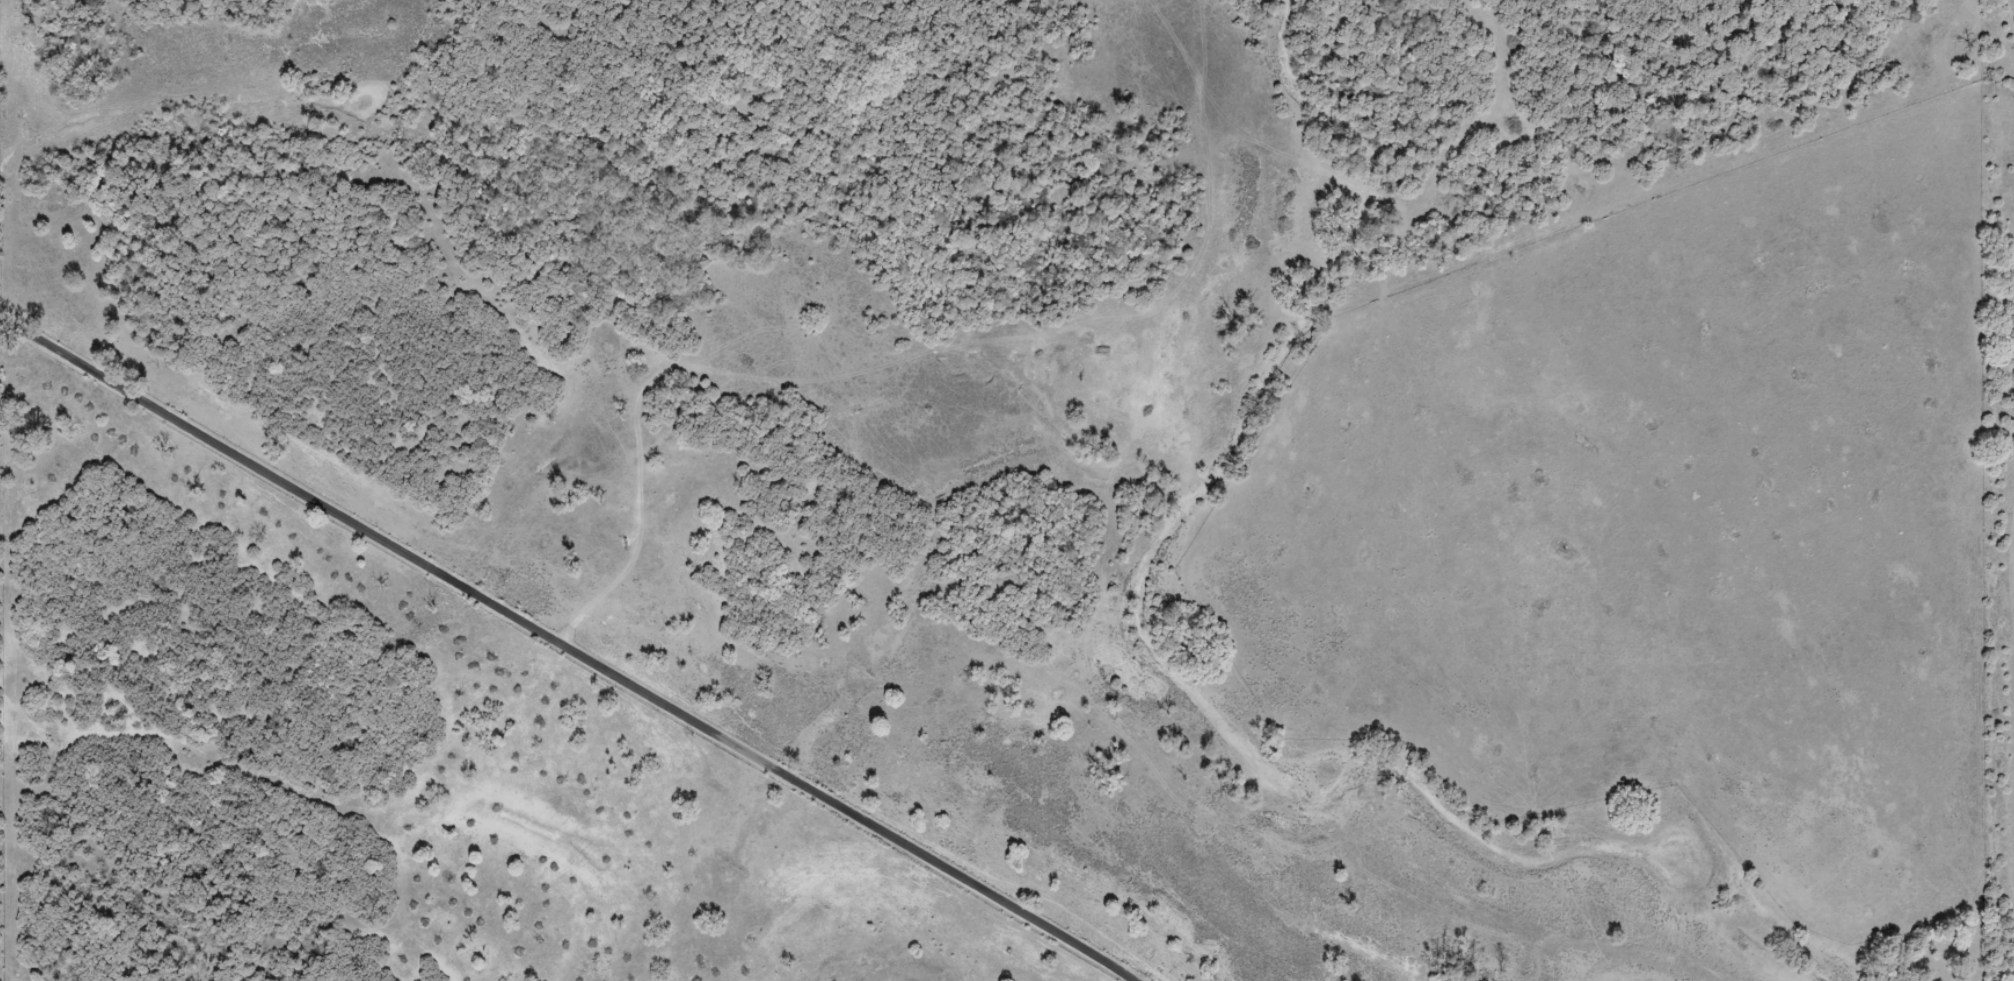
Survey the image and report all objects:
road: (569, 648)

